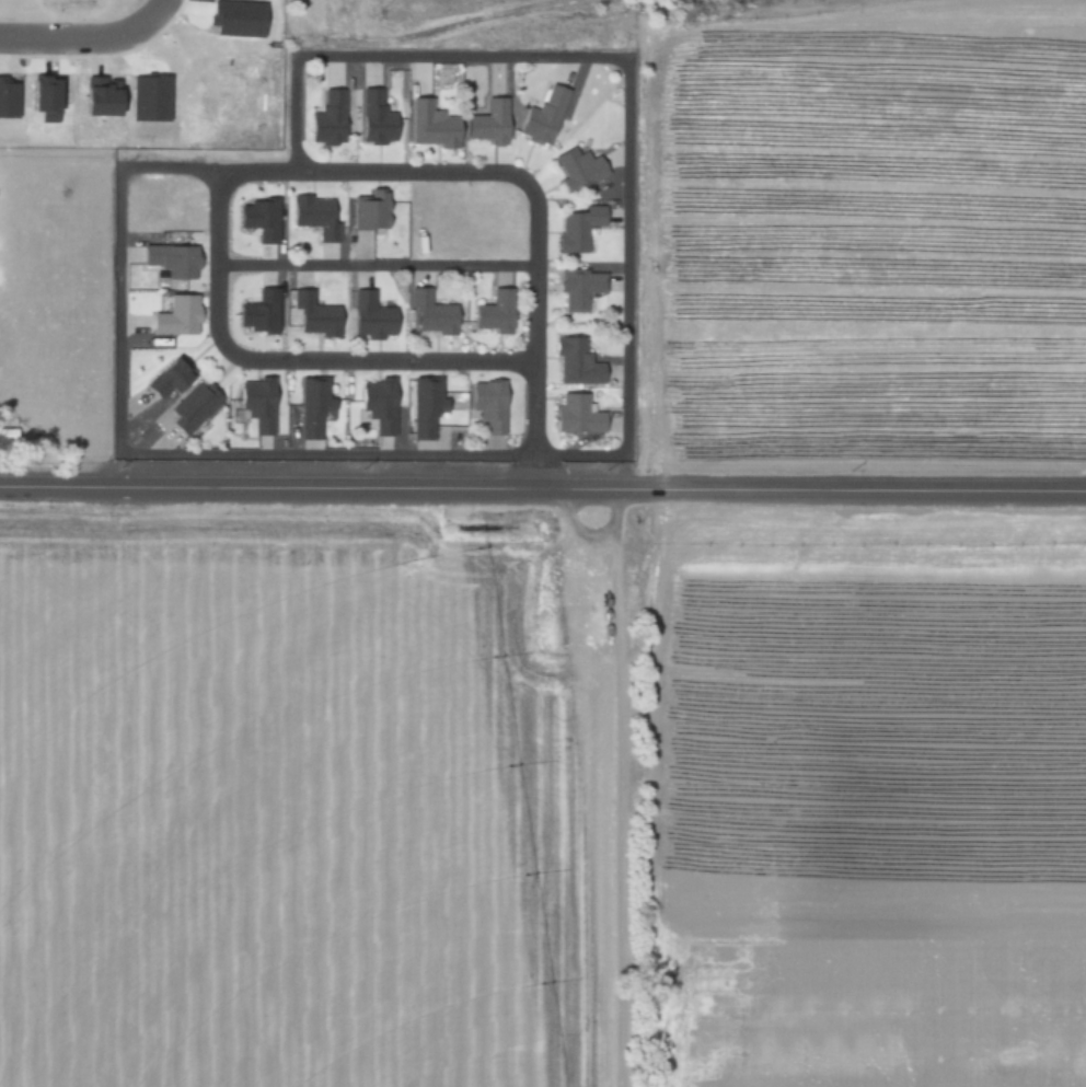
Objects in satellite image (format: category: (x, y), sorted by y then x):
building: (232, 18)
road: (89, 43)
building: (94, 96)
building: (38, 97)
building: (146, 97)
building: (7, 99)
building: (536, 115)
building: (371, 117)
building: (324, 118)
building: (483, 122)
building: (425, 124)
building: (570, 167)
road: (286, 173)
building: (367, 211)
building: (312, 215)
building: (265, 220)
building: (571, 227)
building: (172, 258)
road: (376, 269)
building: (574, 287)
building: (256, 312)
building: (493, 312)
building: (429, 314)
building: (311, 315)
building: (370, 315)
building: (180, 316)
building: (570, 360)
building: (175, 375)
building: (196, 404)
building: (487, 404)
building: (253, 405)
building: (312, 405)
building: (425, 405)
building: (373, 407)
building: (573, 414)
road: (587, 453)
road: (542, 488)
road: (621, 787)
crop: (542, 796)

